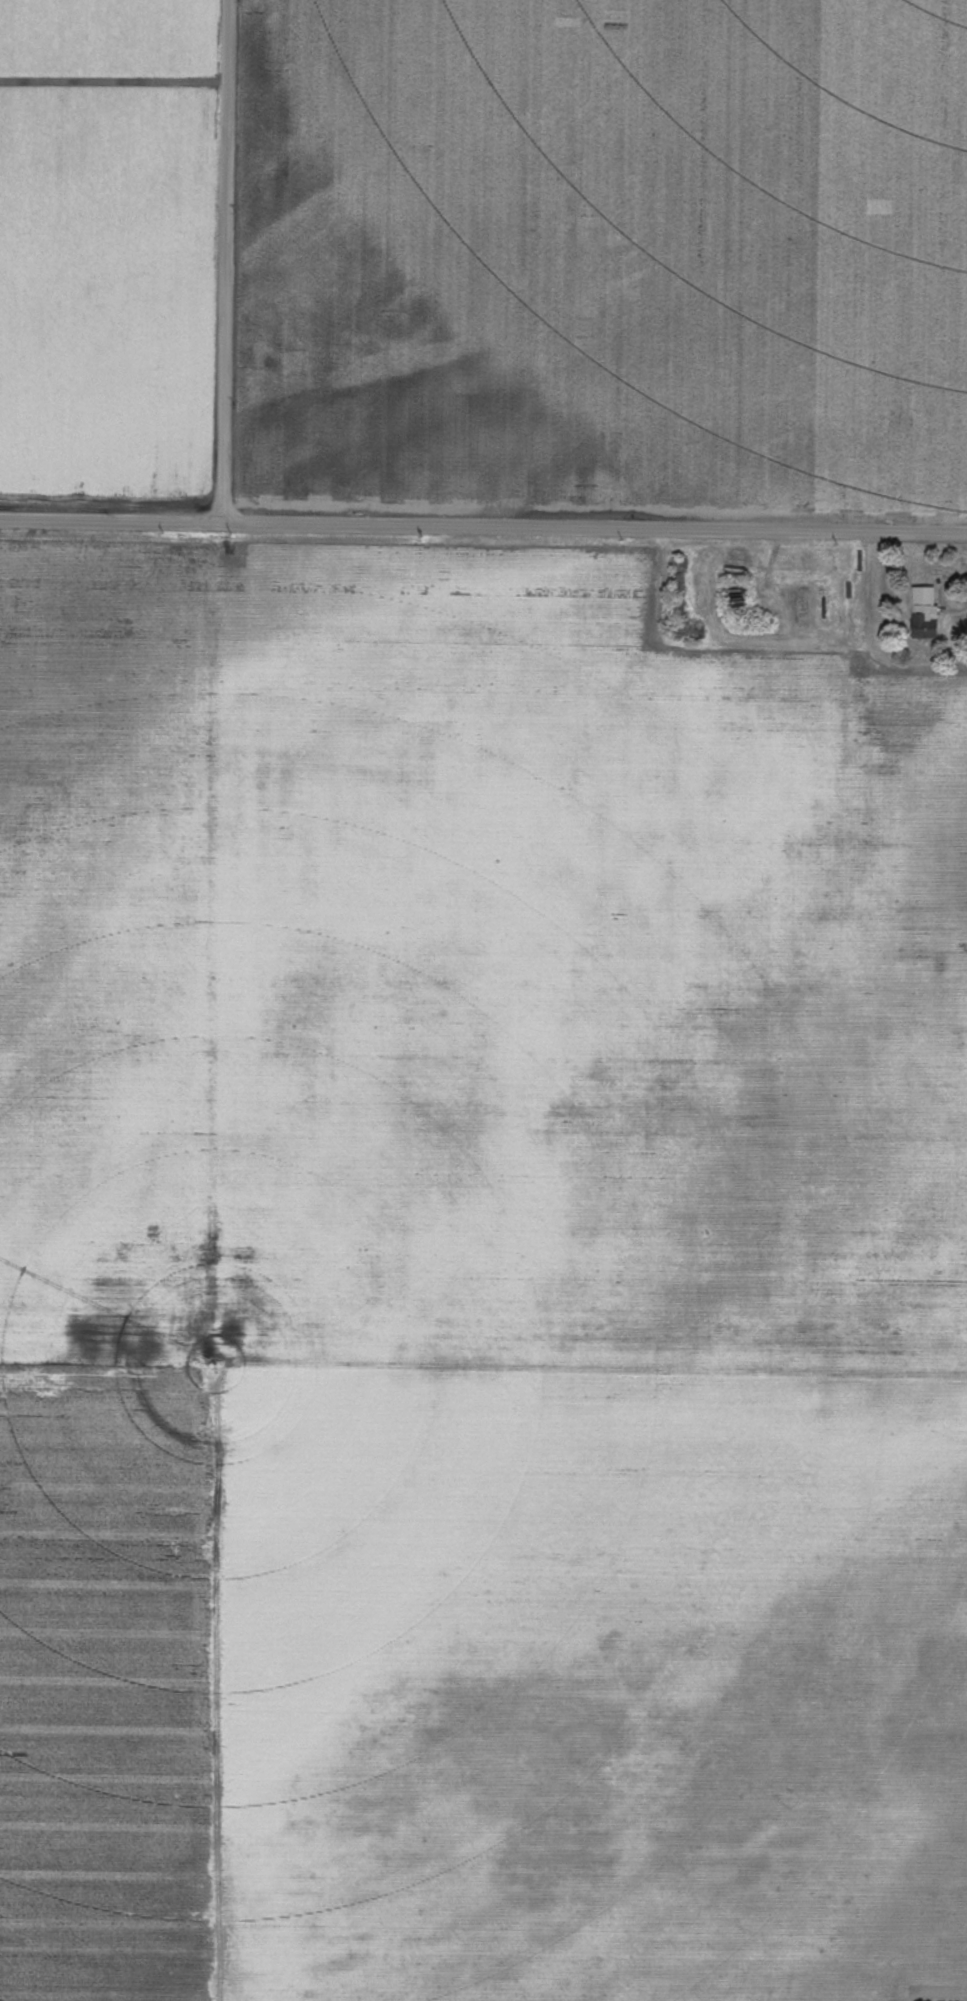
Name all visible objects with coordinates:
road: (226, 261)
road: (483, 526)
building: (926, 600)
road: (943, 605)
building: (926, 625)
road: (483, 1363)
road: (217, 1679)
road: (938, 1993)

